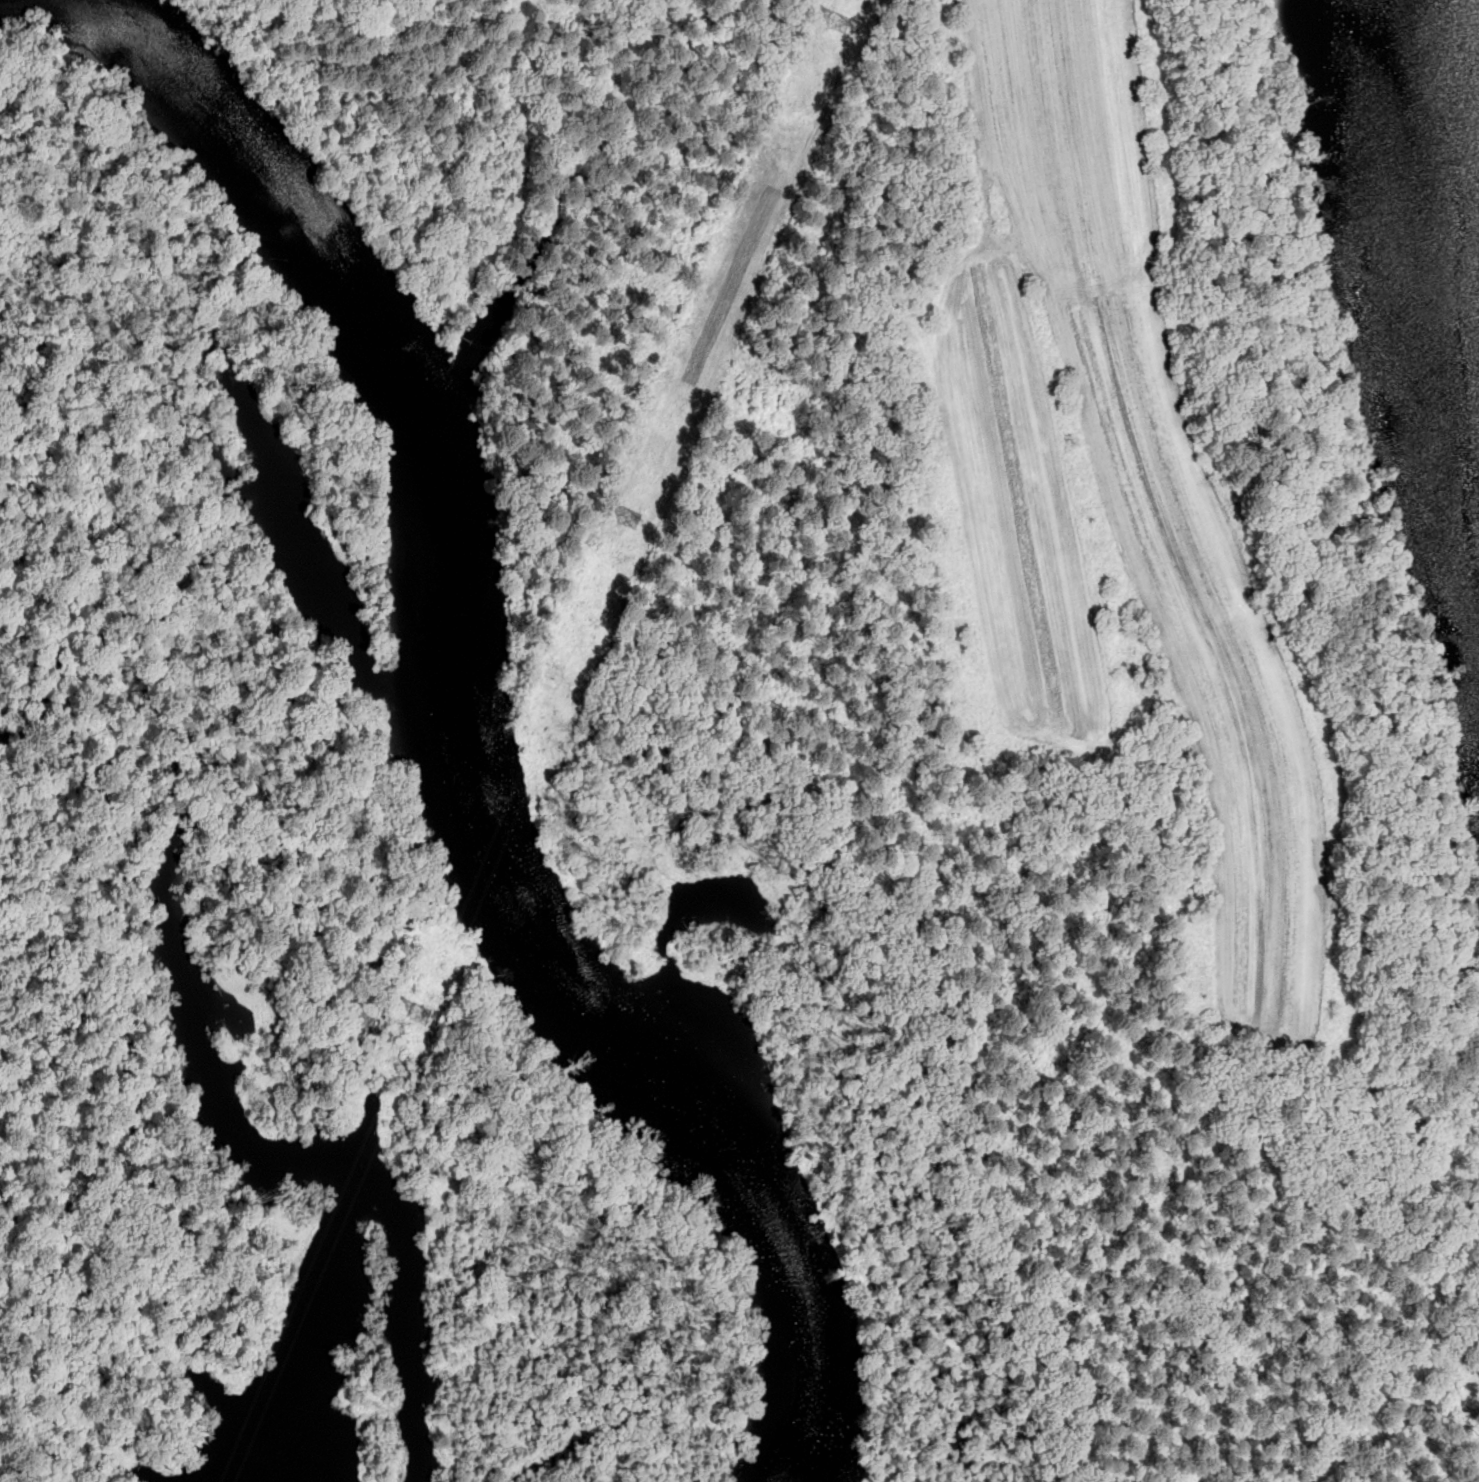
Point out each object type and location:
road: (1258, 6)
power tower: (829, 25)
power tower: (619, 521)
river: (493, 755)
power tower: (412, 1014)

